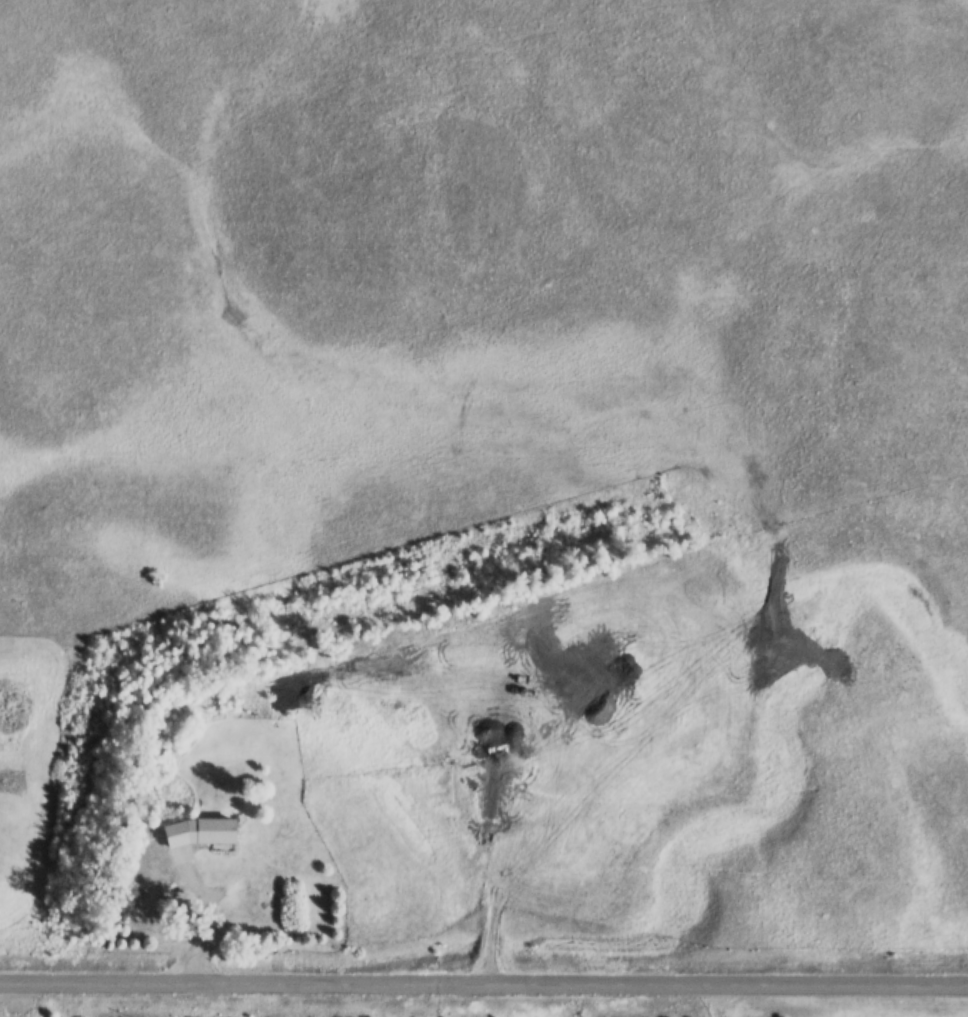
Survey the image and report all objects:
building: (490, 781)
building: (198, 831)
building: (163, 890)
road: (483, 992)

